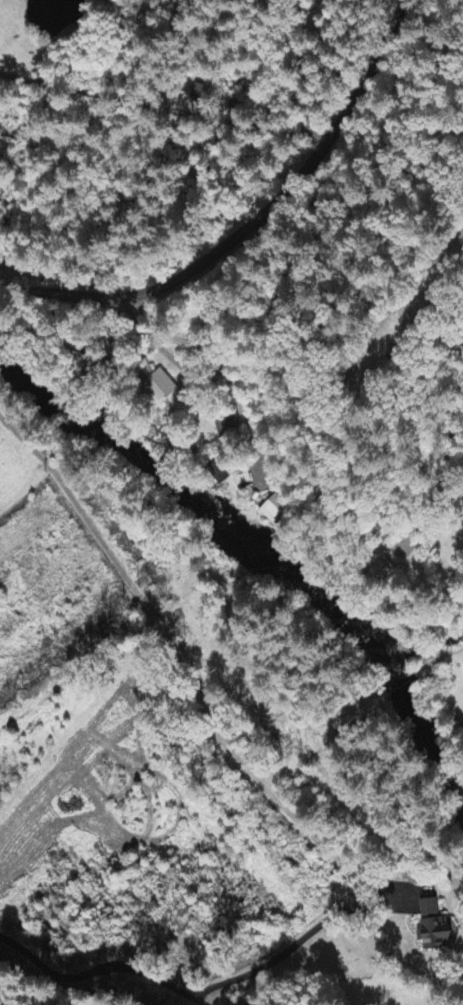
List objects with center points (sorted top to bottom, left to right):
road: (170, 105)
road: (253, 224)
road: (254, 458)
river: (196, 487)
building: (275, 511)
river: (418, 731)
building: (427, 927)

